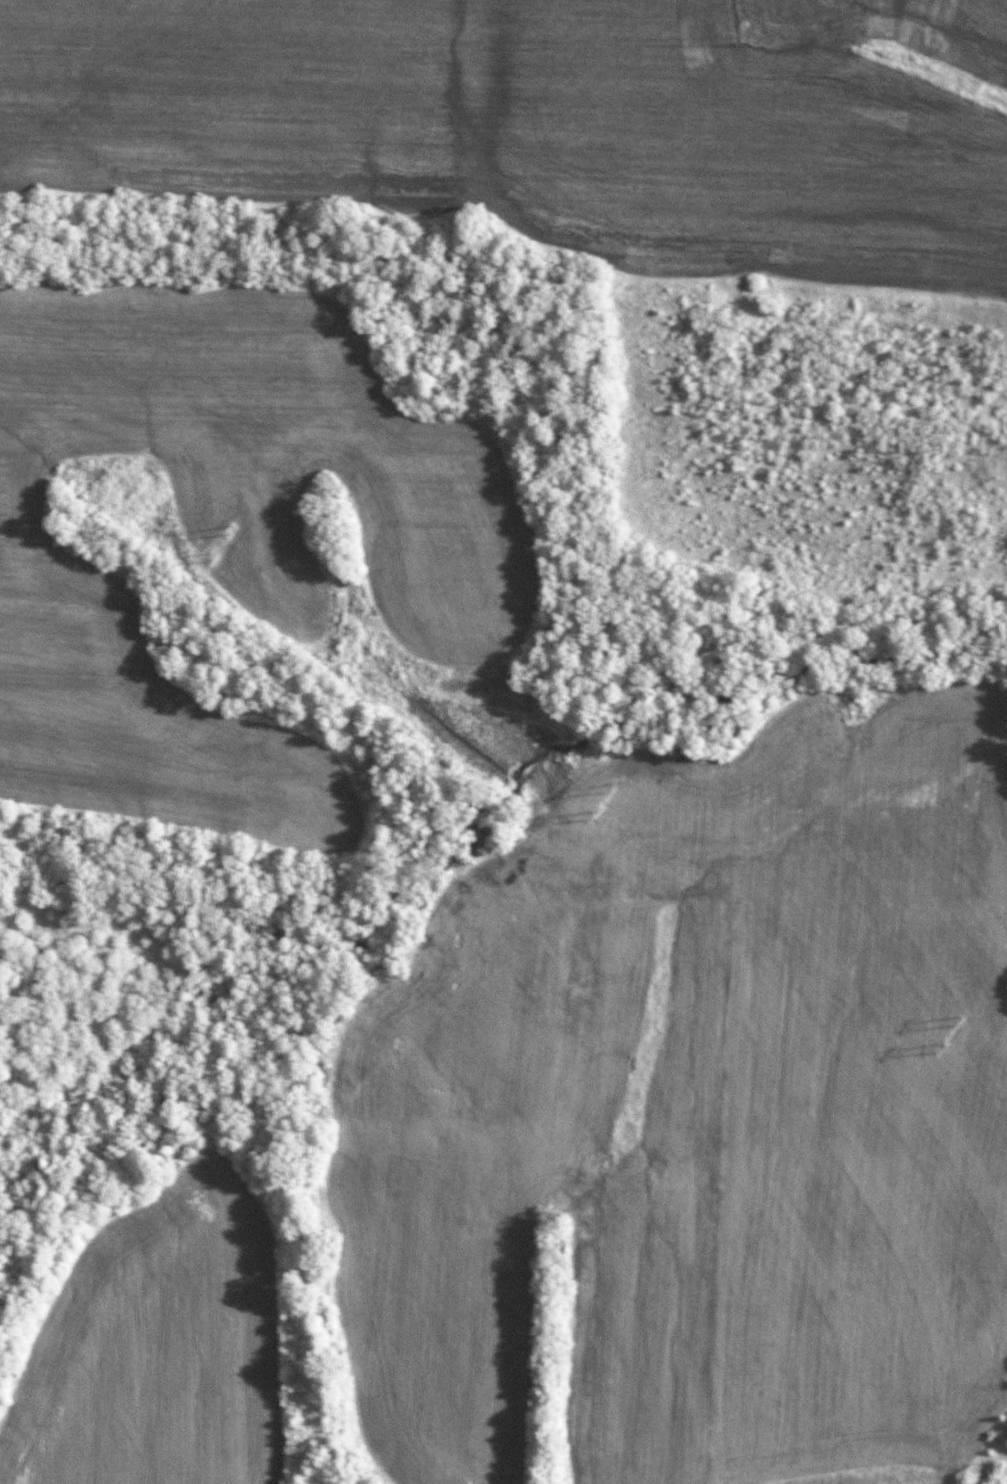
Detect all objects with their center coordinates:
power tower: (226, 531)
power tower: (206, 557)
power tower: (607, 790)
power tower: (595, 816)
power tower: (944, 1020)
power tower: (930, 1044)

